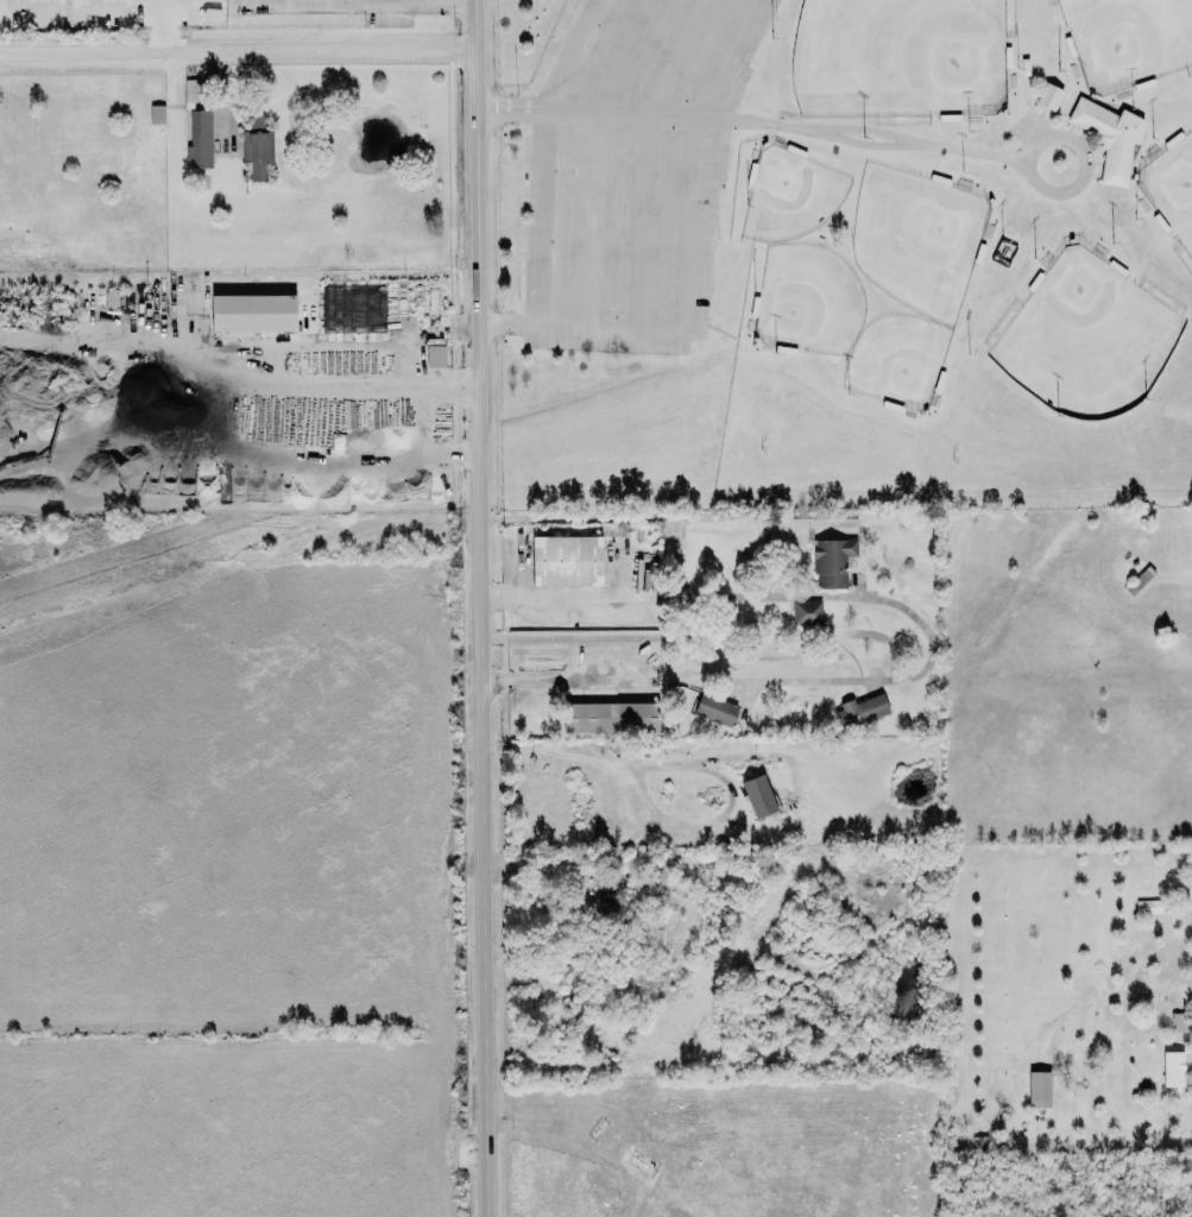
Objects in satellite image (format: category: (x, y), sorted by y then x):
road: (447, 4)
road: (342, 5)
park: (1127, 39)
road: (238, 49)
park: (898, 57)
building: (190, 93)
building: (1049, 97)
road: (586, 113)
building: (157, 114)
road: (873, 132)
building: (1110, 138)
building: (200, 140)
building: (257, 149)
road: (964, 152)
road: (553, 157)
road: (693, 158)
road: (598, 160)
road: (649, 160)
parking lot: (661, 166)
park: (1172, 188)
park: (789, 195)
park: (916, 239)
park: (845, 247)
park: (807, 301)
building: (250, 310)
road: (536, 326)
road: (639, 329)
park: (1085, 339)
road: (208, 346)
building: (435, 357)
park: (896, 361)
road: (336, 387)
road: (415, 393)
road: (270, 460)
building: (563, 559)
building: (832, 562)
building: (647, 575)
road: (560, 595)
road: (481, 607)
building: (807, 613)
road: (920, 624)
road: (550, 681)
building: (715, 710)
building: (860, 712)
building: (612, 718)
road: (683, 769)
building: (758, 796)
building: (606, 903)
building: (1148, 907)
road: (1102, 994)
building: (1180, 1022)
building: (1173, 1070)
building: (1039, 1090)

